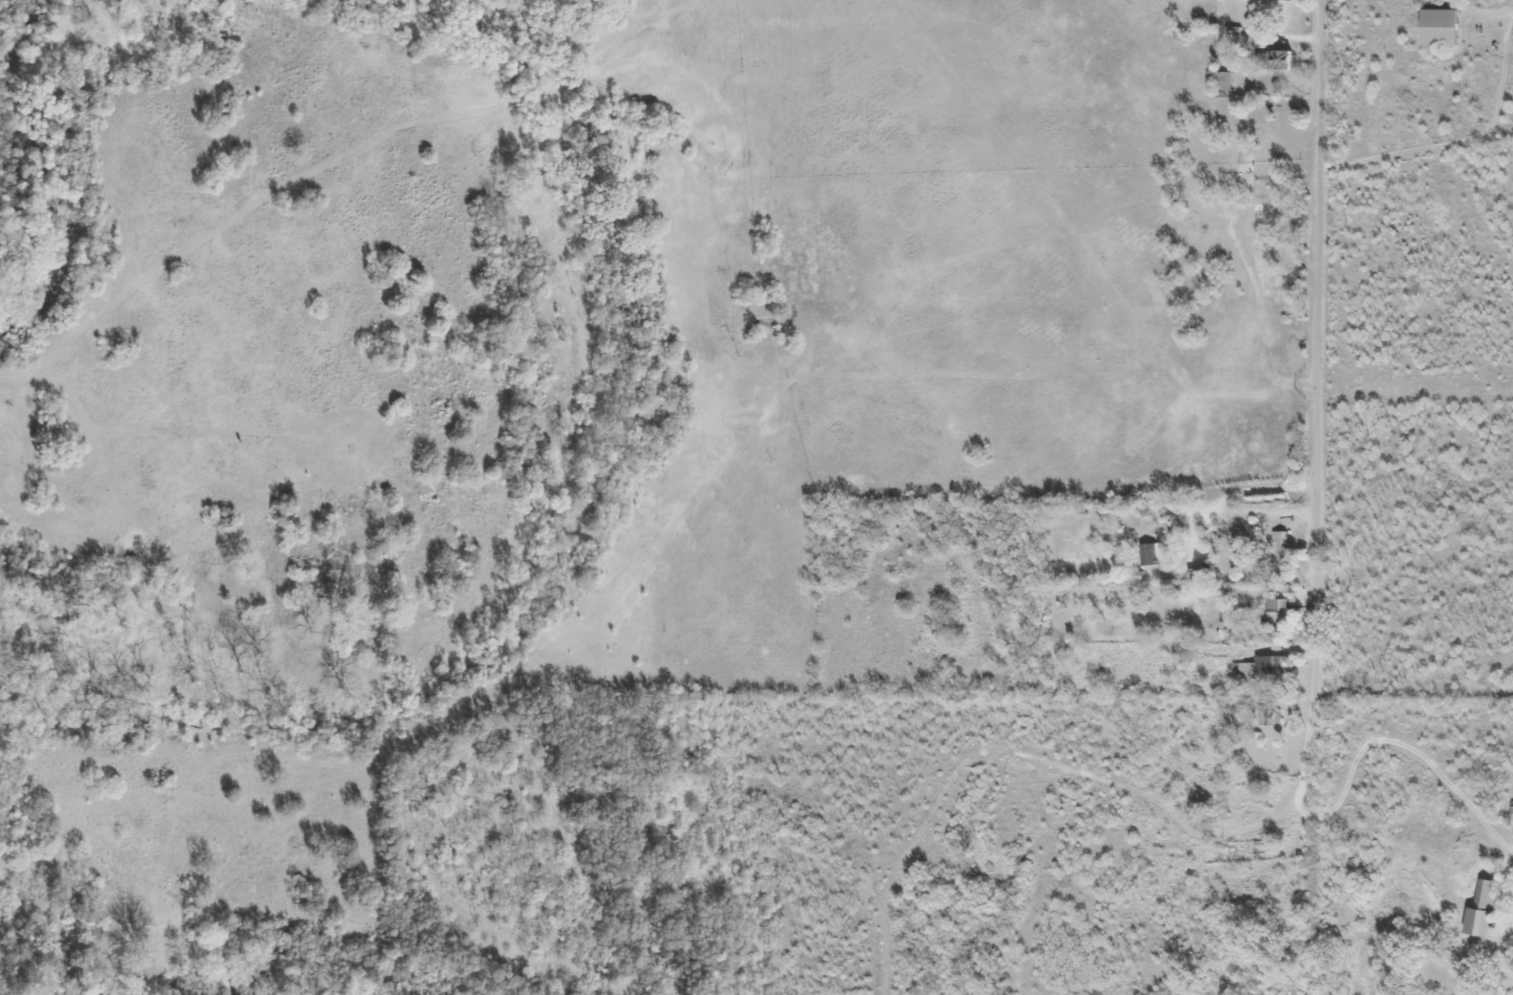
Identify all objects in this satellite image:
building: (1437, 27)
road: (1504, 31)
building: (1278, 57)
building: (1223, 83)
road: (1315, 344)
building: (1281, 544)
building: (1148, 553)
building: (1277, 606)
building: (1270, 665)
building: (1271, 717)
building: (1480, 908)

